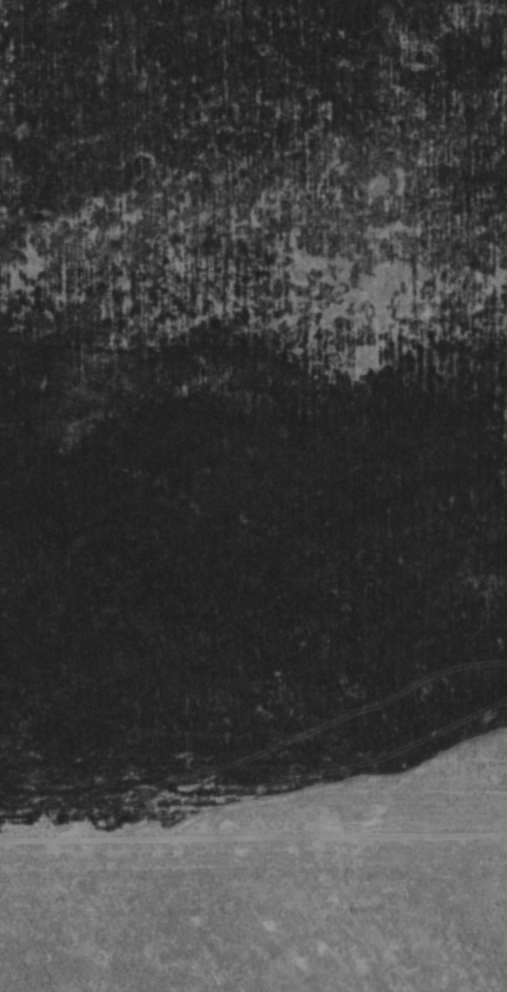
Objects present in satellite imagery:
road: (253, 714)

